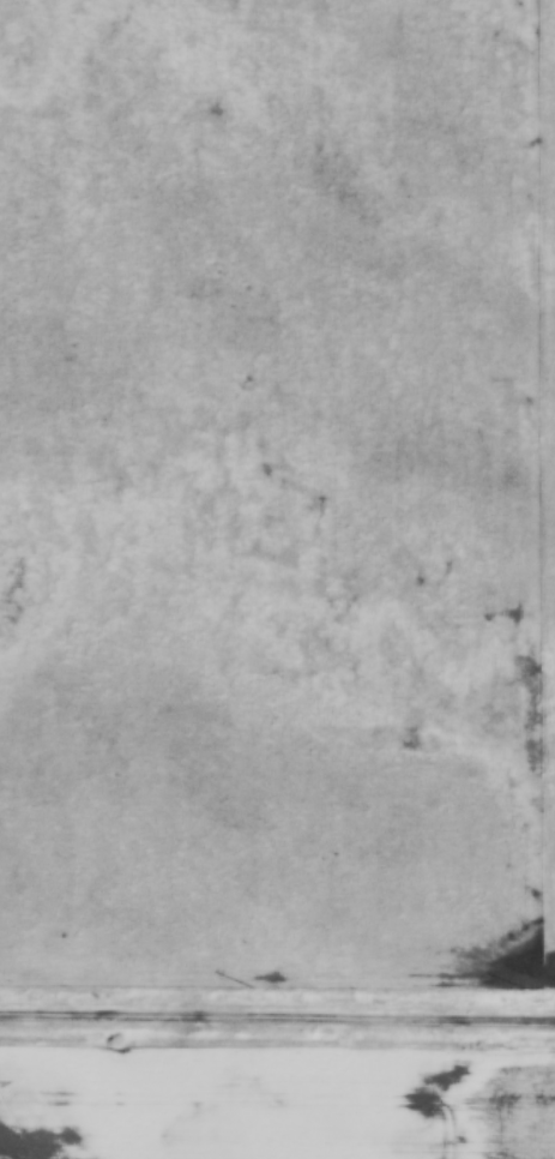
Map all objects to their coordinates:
road: (277, 1014)

